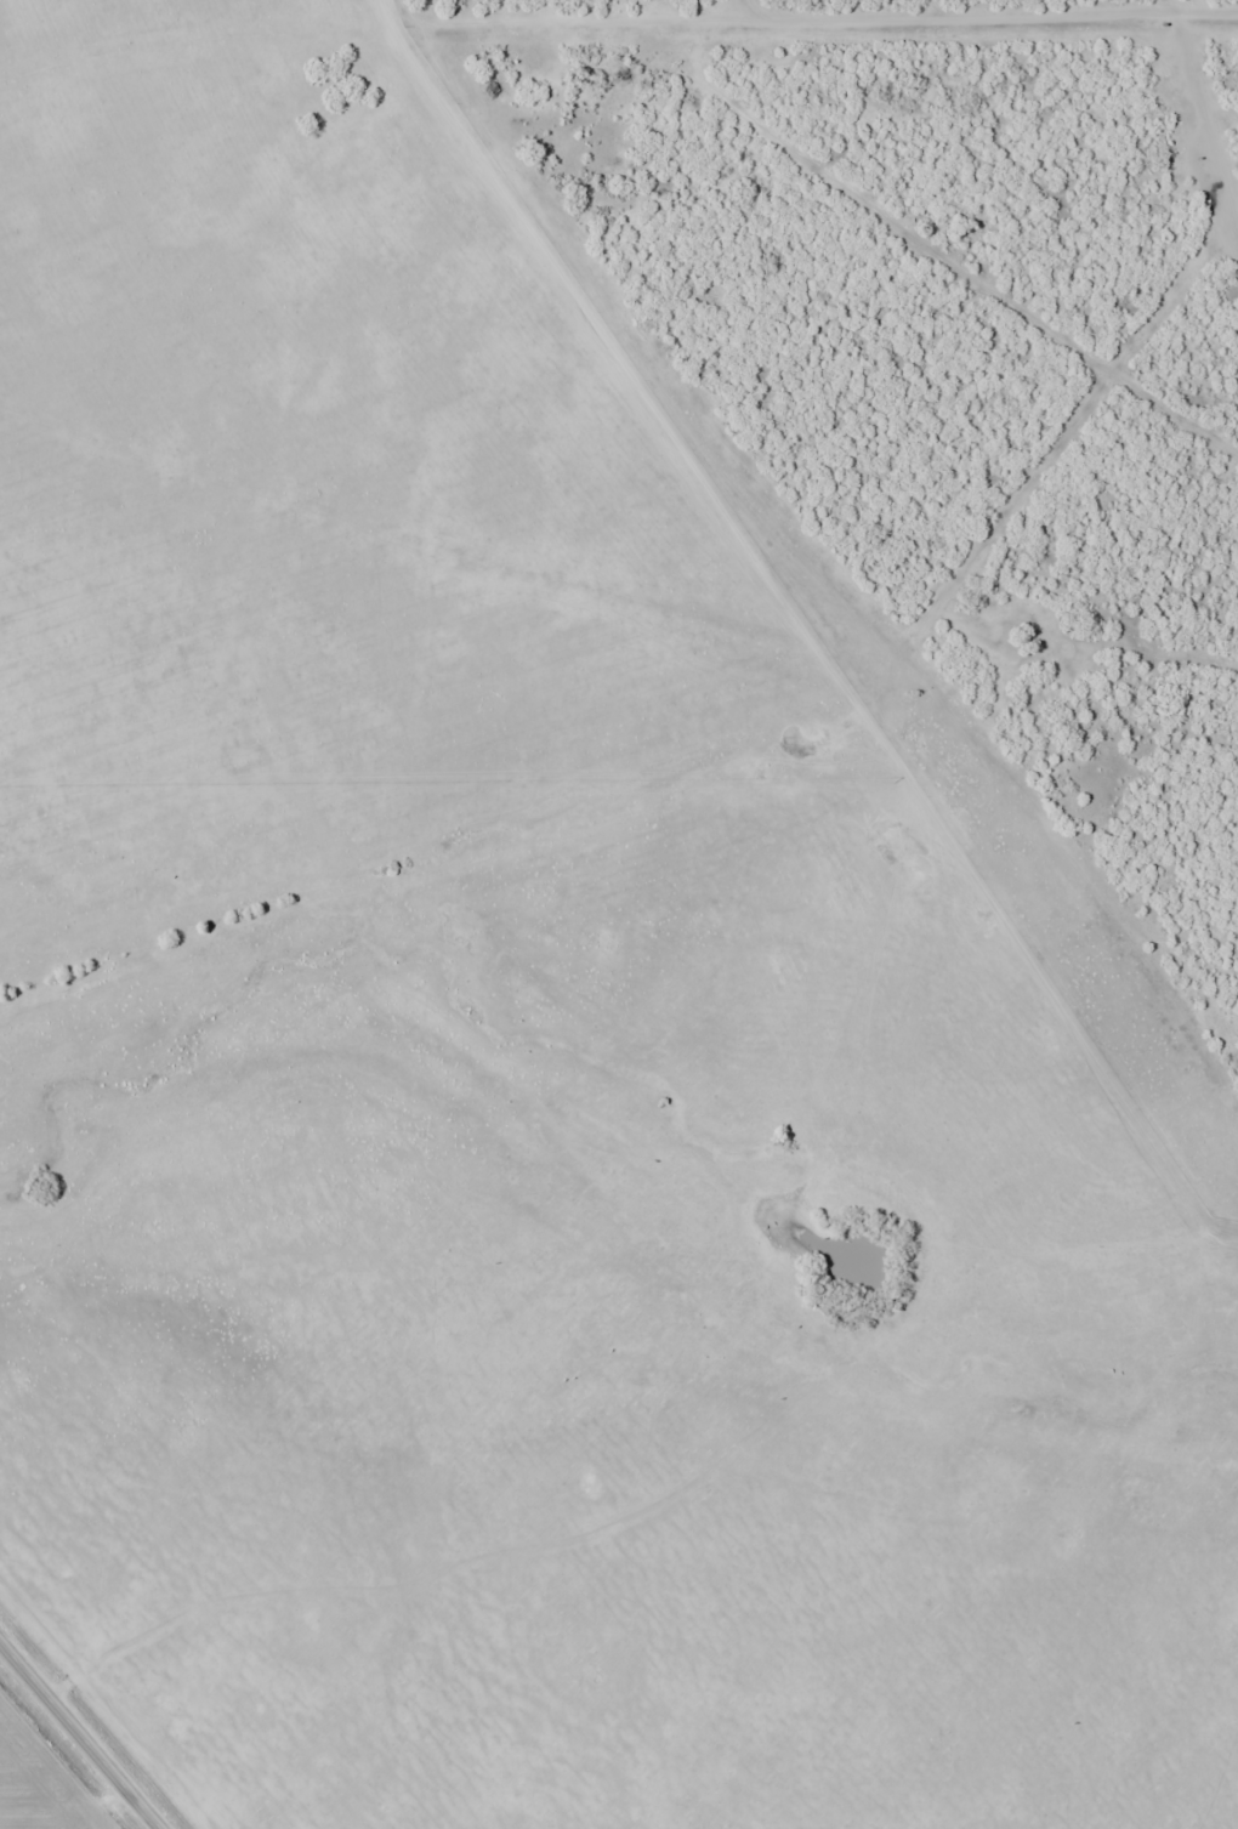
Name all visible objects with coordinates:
road: (79, 1736)

